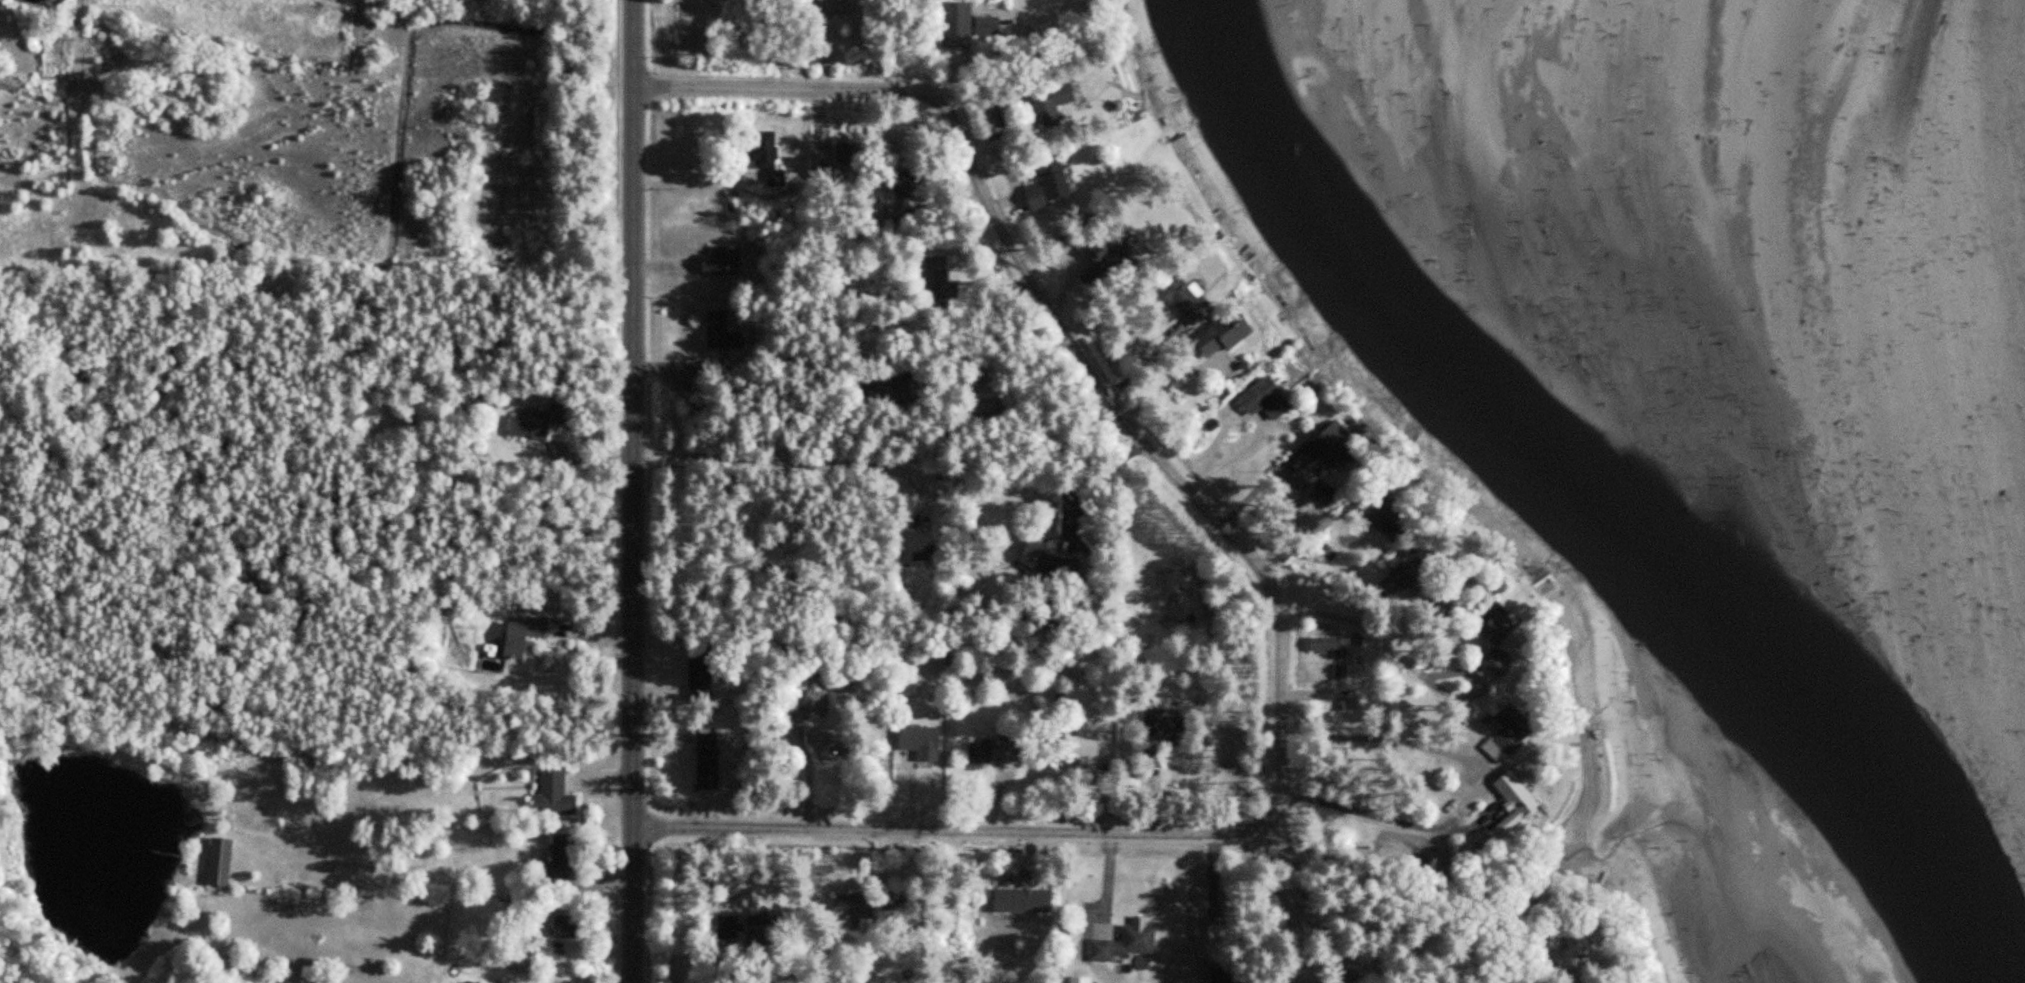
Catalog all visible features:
building: (837, 7)
building: (1059, 98)
road: (76, 104)
building: (769, 156)
building: (841, 162)
building: (913, 182)
building: (1052, 183)
building: (725, 259)
building: (1108, 263)
building: (942, 278)
building: (1187, 299)
building: (719, 328)
road: (1063, 331)
building: (1229, 333)
building: (699, 385)
building: (1270, 398)
building: (540, 421)
building: (1334, 446)
road: (791, 464)
road: (632, 491)
river: (1580, 498)
building: (1398, 518)
building: (1038, 559)
building: (1069, 566)
building: (1416, 573)
building: (1443, 602)
building: (519, 640)
building: (1332, 646)
road: (1404, 658)
building: (908, 687)
building: (818, 702)
building: (1168, 727)
road: (1381, 734)
building: (1515, 734)
building: (1010, 735)
building: (923, 741)
building: (828, 745)
building: (1084, 745)
building: (981, 752)
building: (555, 793)
building: (1520, 804)
road: (1373, 813)
road: (952, 830)
building: (561, 860)
building: (222, 861)
road: (1214, 889)
building: (1023, 900)
building: (856, 907)
building: (567, 925)
building: (759, 930)
building: (1129, 943)
building: (1226, 975)
building: (472, 982)

